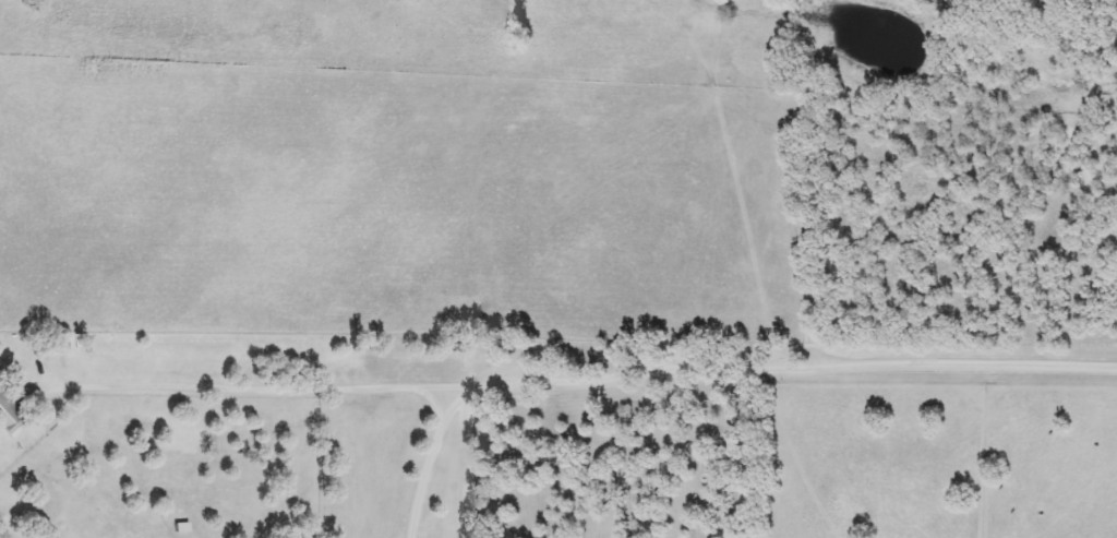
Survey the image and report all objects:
road: (709, 375)
road: (248, 396)
building: (11, 418)

